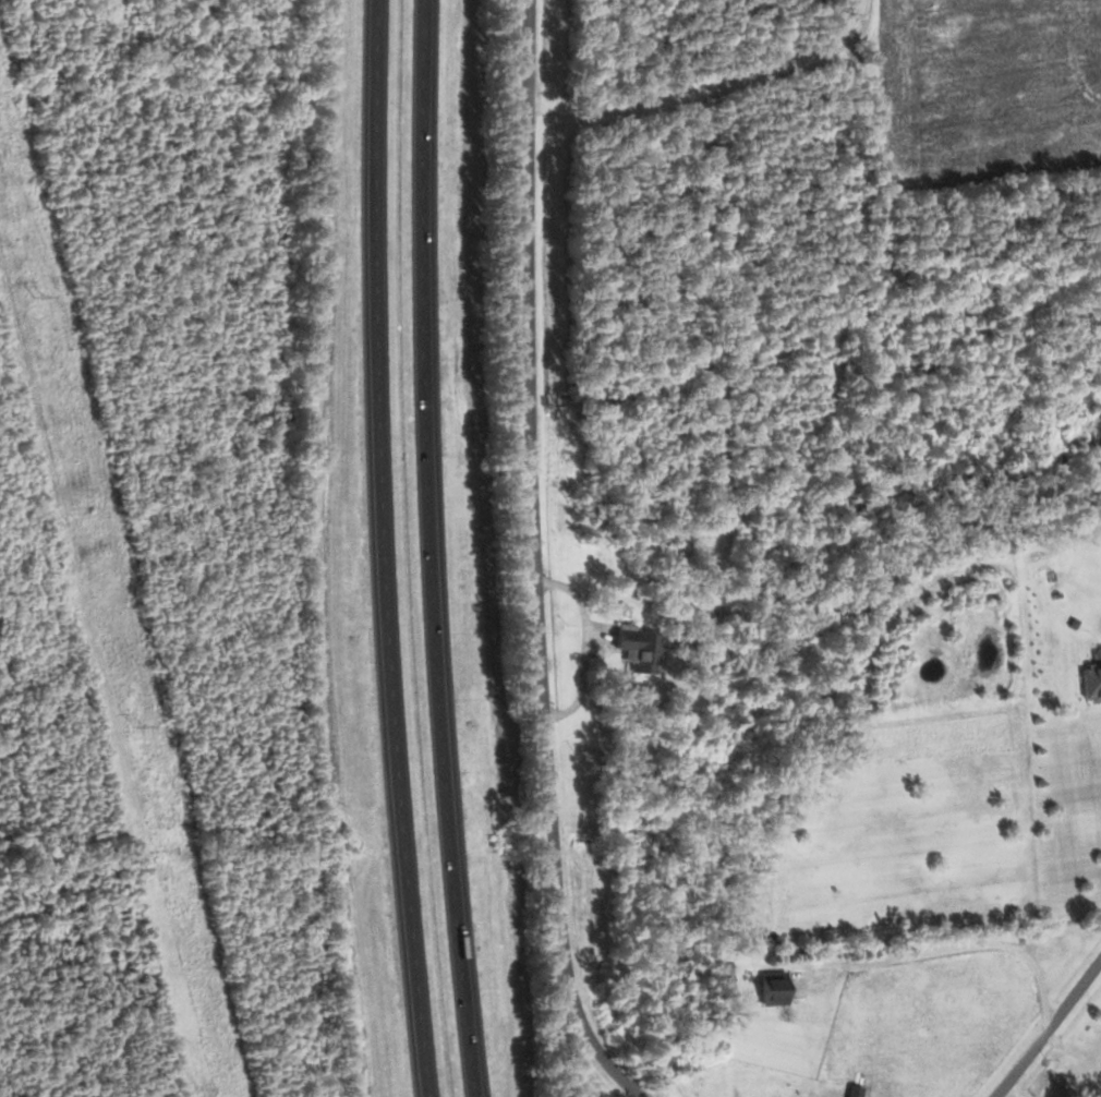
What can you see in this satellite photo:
power tower: (37, 296)
road: (385, 548)
road: (429, 548)
road: (535, 560)
road: (585, 643)
building: (636, 648)
building: (1090, 680)
power tower: (137, 722)
road: (981, 944)
building: (770, 987)
road: (1048, 1027)
road: (1072, 1048)

